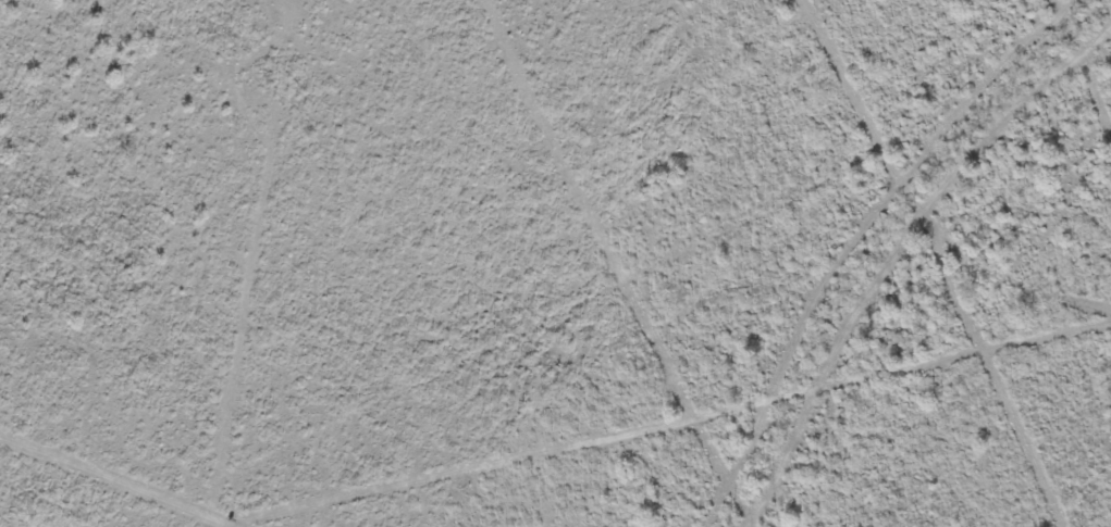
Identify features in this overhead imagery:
road: (116, 480)

